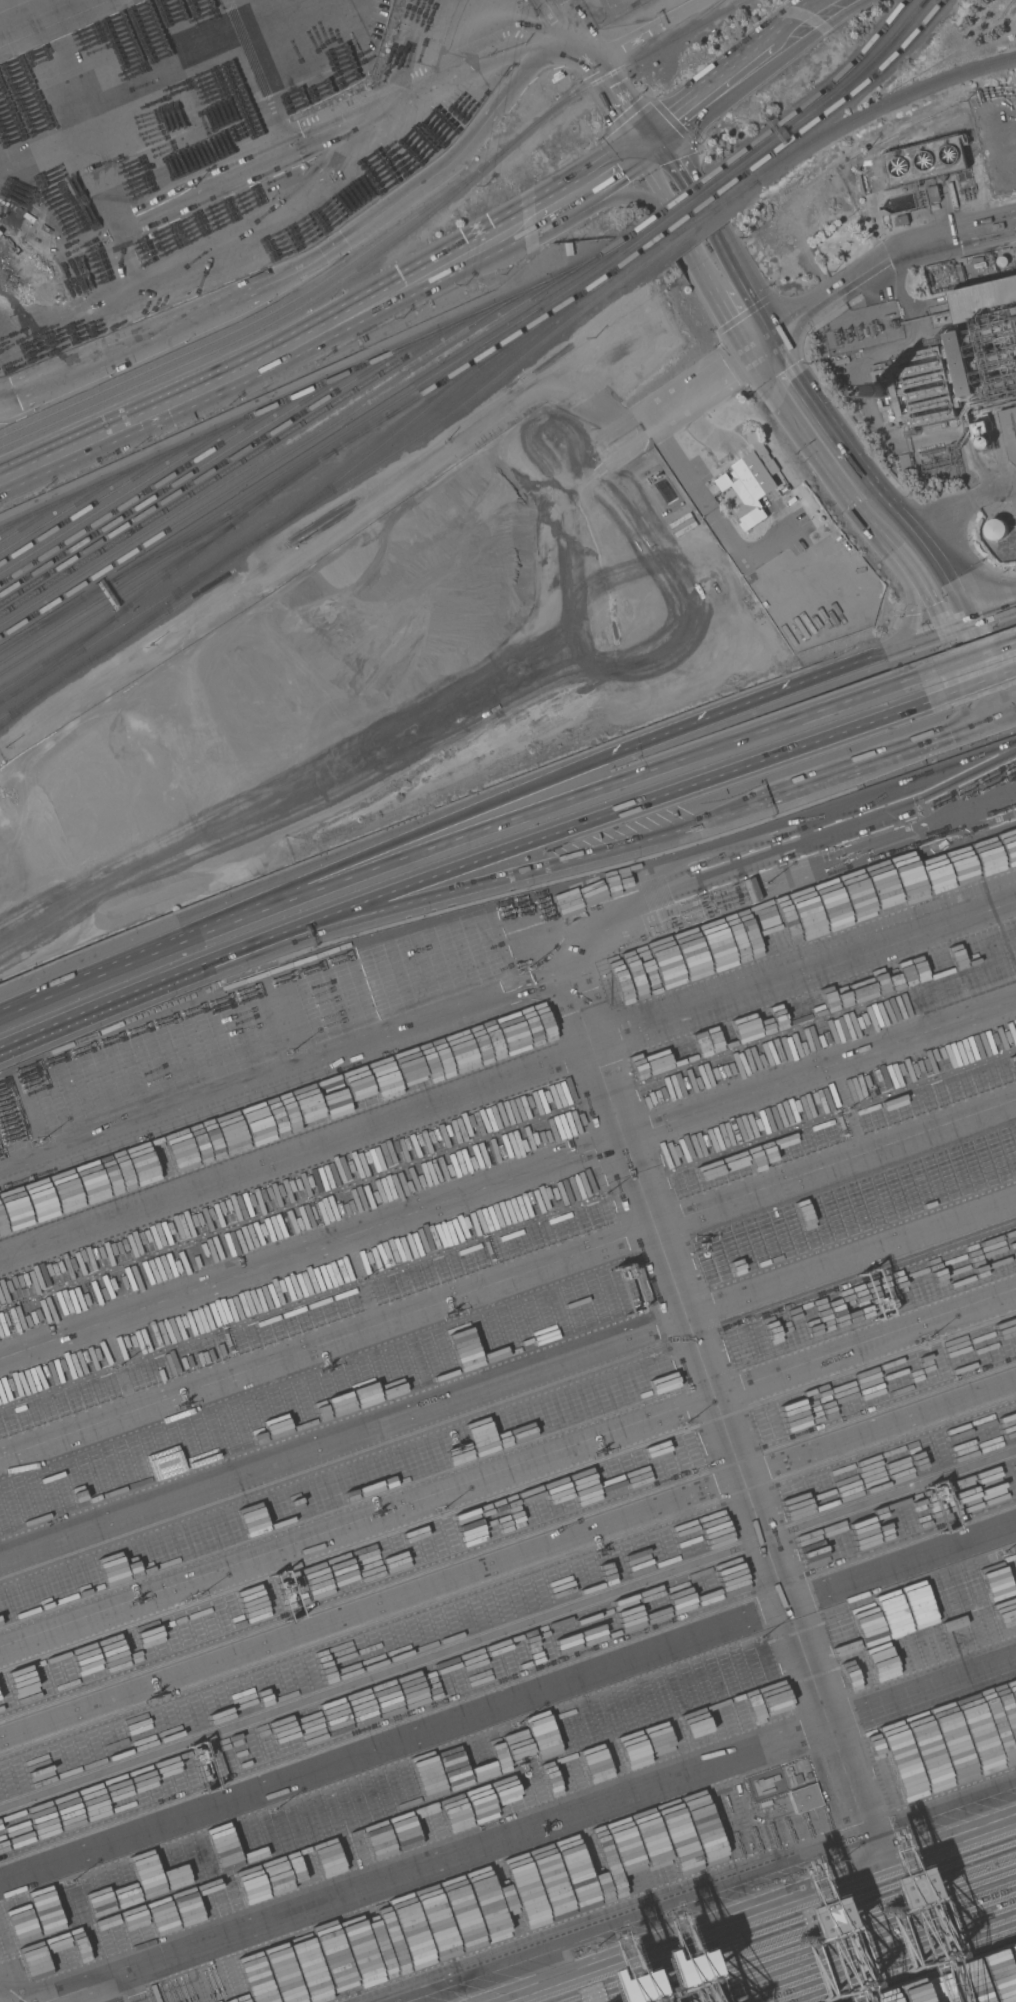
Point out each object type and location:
road: (566, 28)
road: (649, 29)
railway: (680, 32)
road: (740, 74)
railway: (899, 98)
railway: (817, 99)
railway: (828, 103)
railway: (840, 106)
traffic signals: (645, 149)
building: (925, 161)
railway: (772, 170)
building: (933, 194)
railway: (739, 195)
railway: (739, 197)
railway: (680, 200)
railway: (686, 210)
railway: (690, 217)
railway: (694, 223)
railway: (696, 229)
road: (923, 237)
railway: (388, 248)
railway: (640, 255)
road: (311, 258)
building: (18, 261)
railway: (576, 269)
road: (718, 269)
railway: (609, 276)
railway: (591, 278)
building: (984, 300)
road: (801, 313)
railway: (264, 318)
power substation: (861, 327)
road: (330, 331)
traffic signals: (762, 342)
railway: (486, 355)
railway: (470, 360)
building: (963, 363)
road: (706, 381)
building: (1015, 383)
chimney: (881, 393)
railway: (275, 405)
railway: (416, 418)
building: (979, 428)
railway: (326, 430)
building: (1009, 431)
railway: (367, 432)
building: (983, 443)
railway: (274, 452)
railway: (246, 459)
railway: (218, 467)
railway: (189, 476)
railway: (162, 481)
building: (751, 482)
railway: (260, 487)
railway: (341, 487)
railway: (135, 489)
railway: (272, 492)
railway: (106, 496)
road: (997, 496)
railway: (77, 504)
road: (705, 506)
railway: (49, 512)
road: (862, 514)
railway: (22, 521)
road: (951, 523)
building: (996, 529)
storage tank: (996, 529)
road: (921, 541)
railway: (181, 545)
railway: (160, 582)
road: (919, 588)
railway: (114, 592)
railway: (113, 604)
railway: (165, 608)
railway: (170, 611)
road: (985, 615)
railway: (41, 623)
traffic signals: (955, 627)
road: (878, 644)
road: (966, 658)
railway: (62, 659)
road: (972, 673)
railway: (52, 686)
road: (970, 686)
road: (778, 692)
railway: (36, 698)
road: (1003, 715)
traffic signals: (990, 720)
road: (1006, 751)
road: (871, 764)
road: (574, 799)
road: (580, 823)
road: (417, 842)
road: (779, 843)
road: (800, 871)
road: (495, 881)
road: (116, 972)
road: (119, 1004)
road: (507, 1072)
road: (507, 1177)
road: (508, 1283)
road: (508, 1387)
road: (718, 1401)
road: (507, 1475)
road: (508, 1554)
road: (920, 1697)
road: (508, 1704)
building: (804, 1798)
road: (730, 1900)

